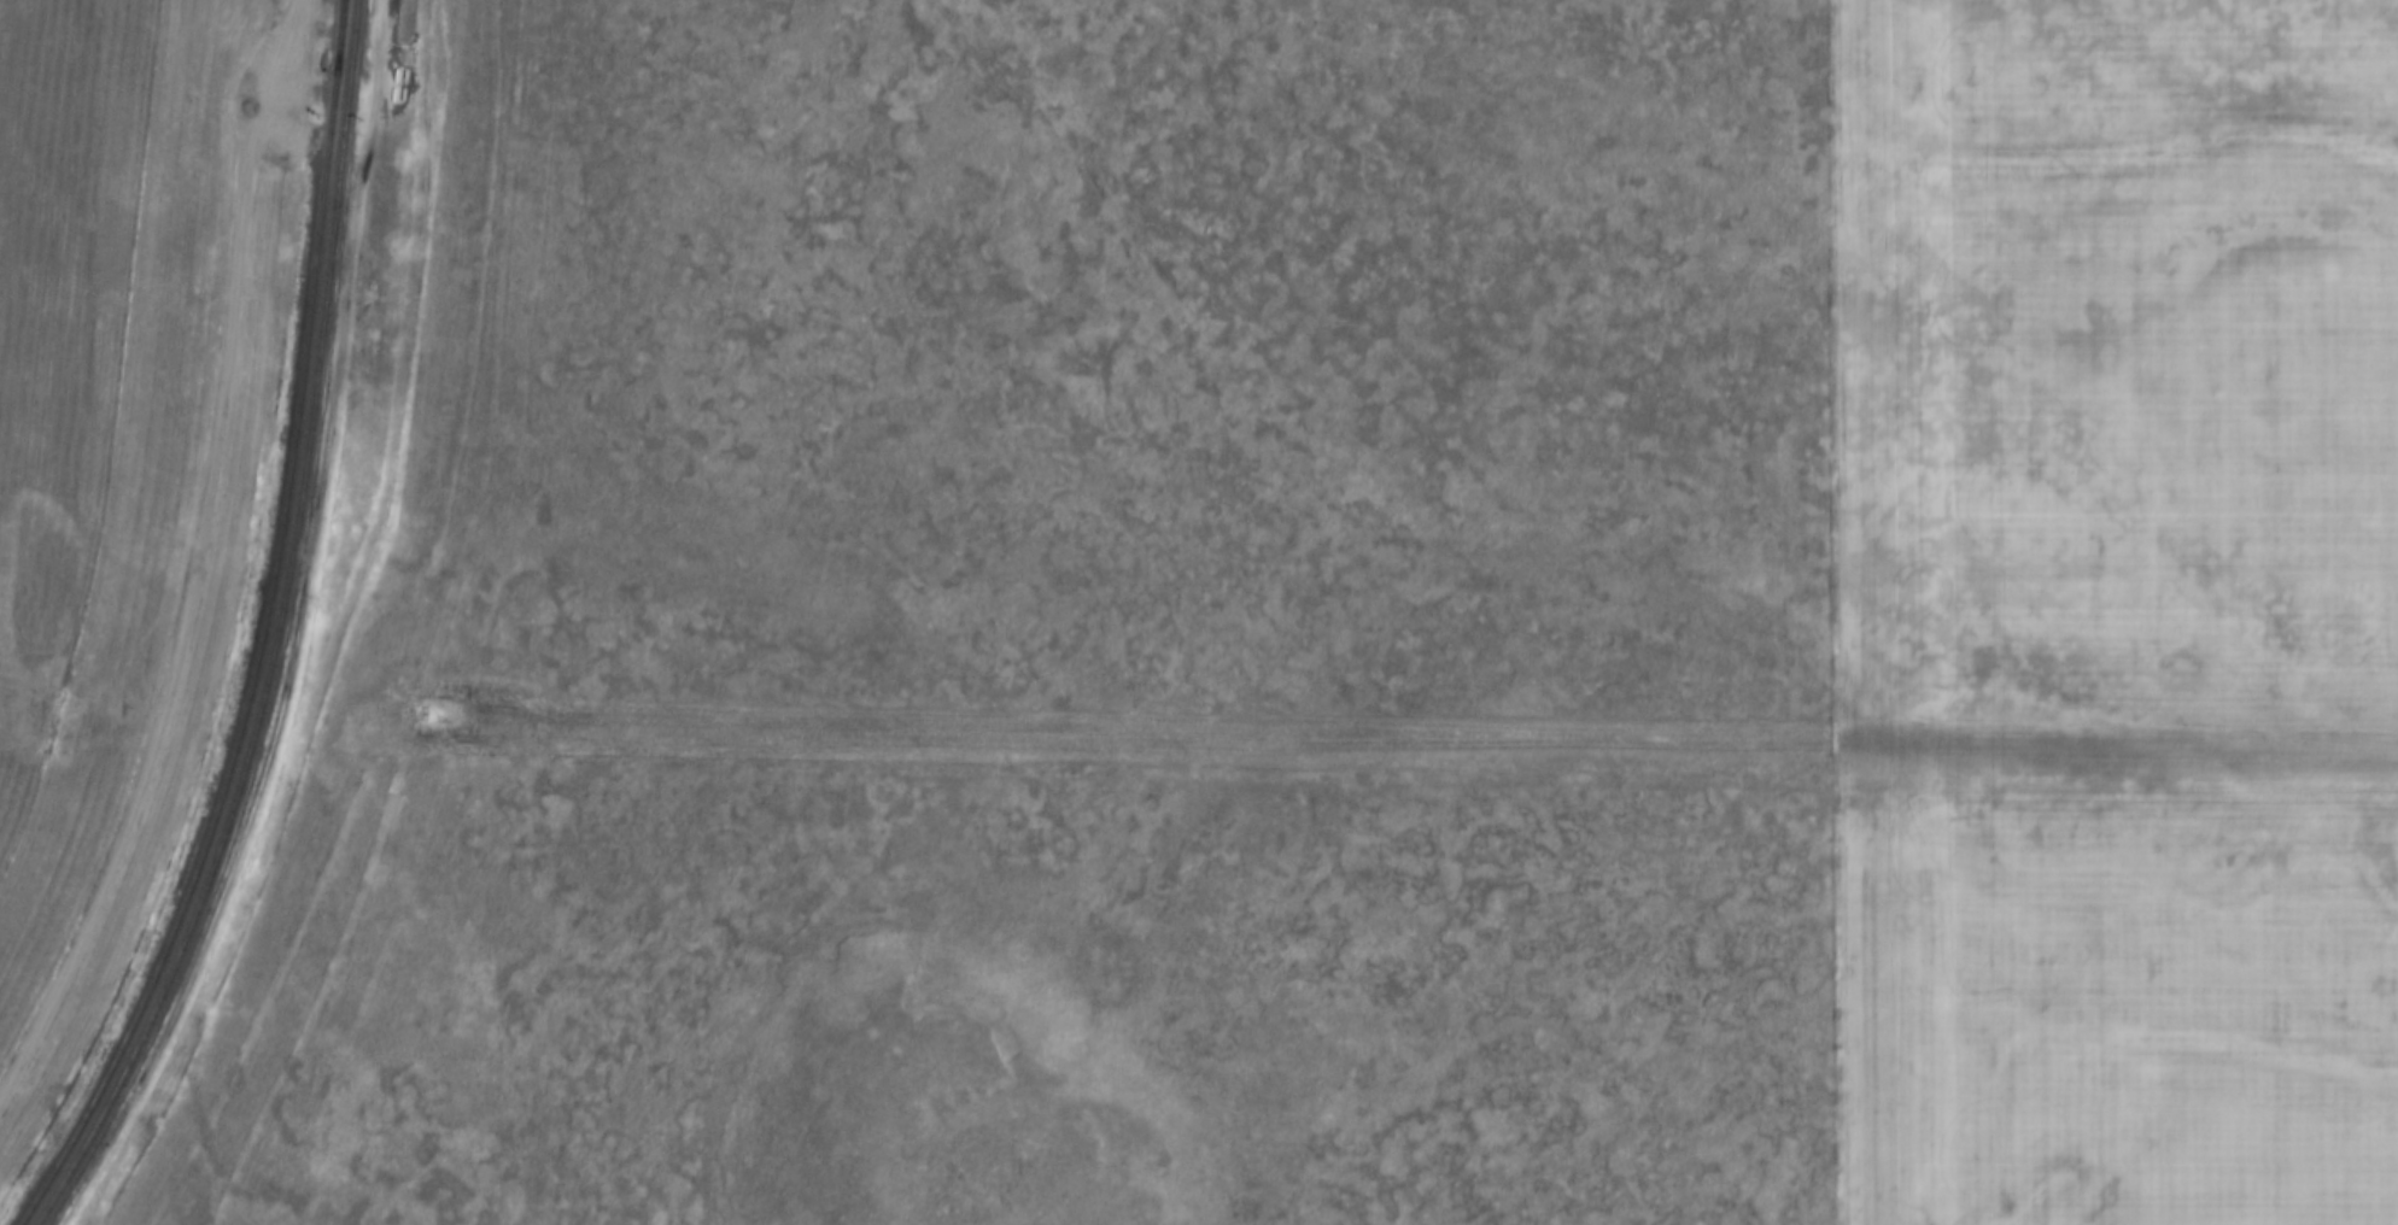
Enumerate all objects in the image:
railway: (275, 635)
road: (298, 635)

